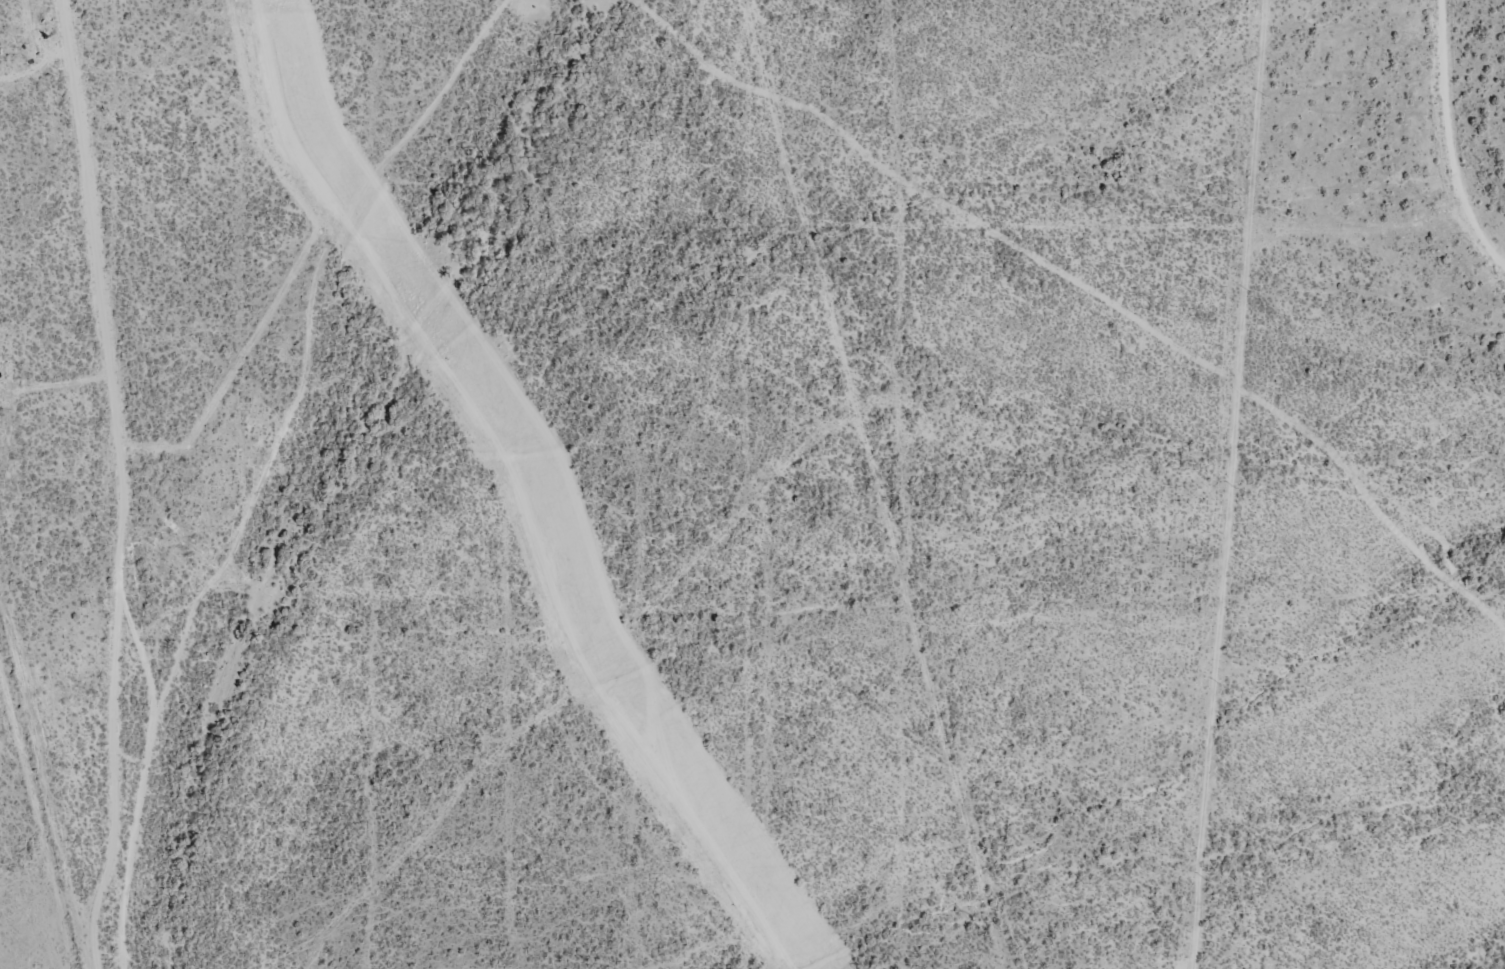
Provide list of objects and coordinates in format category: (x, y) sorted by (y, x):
road: (142, 485)

